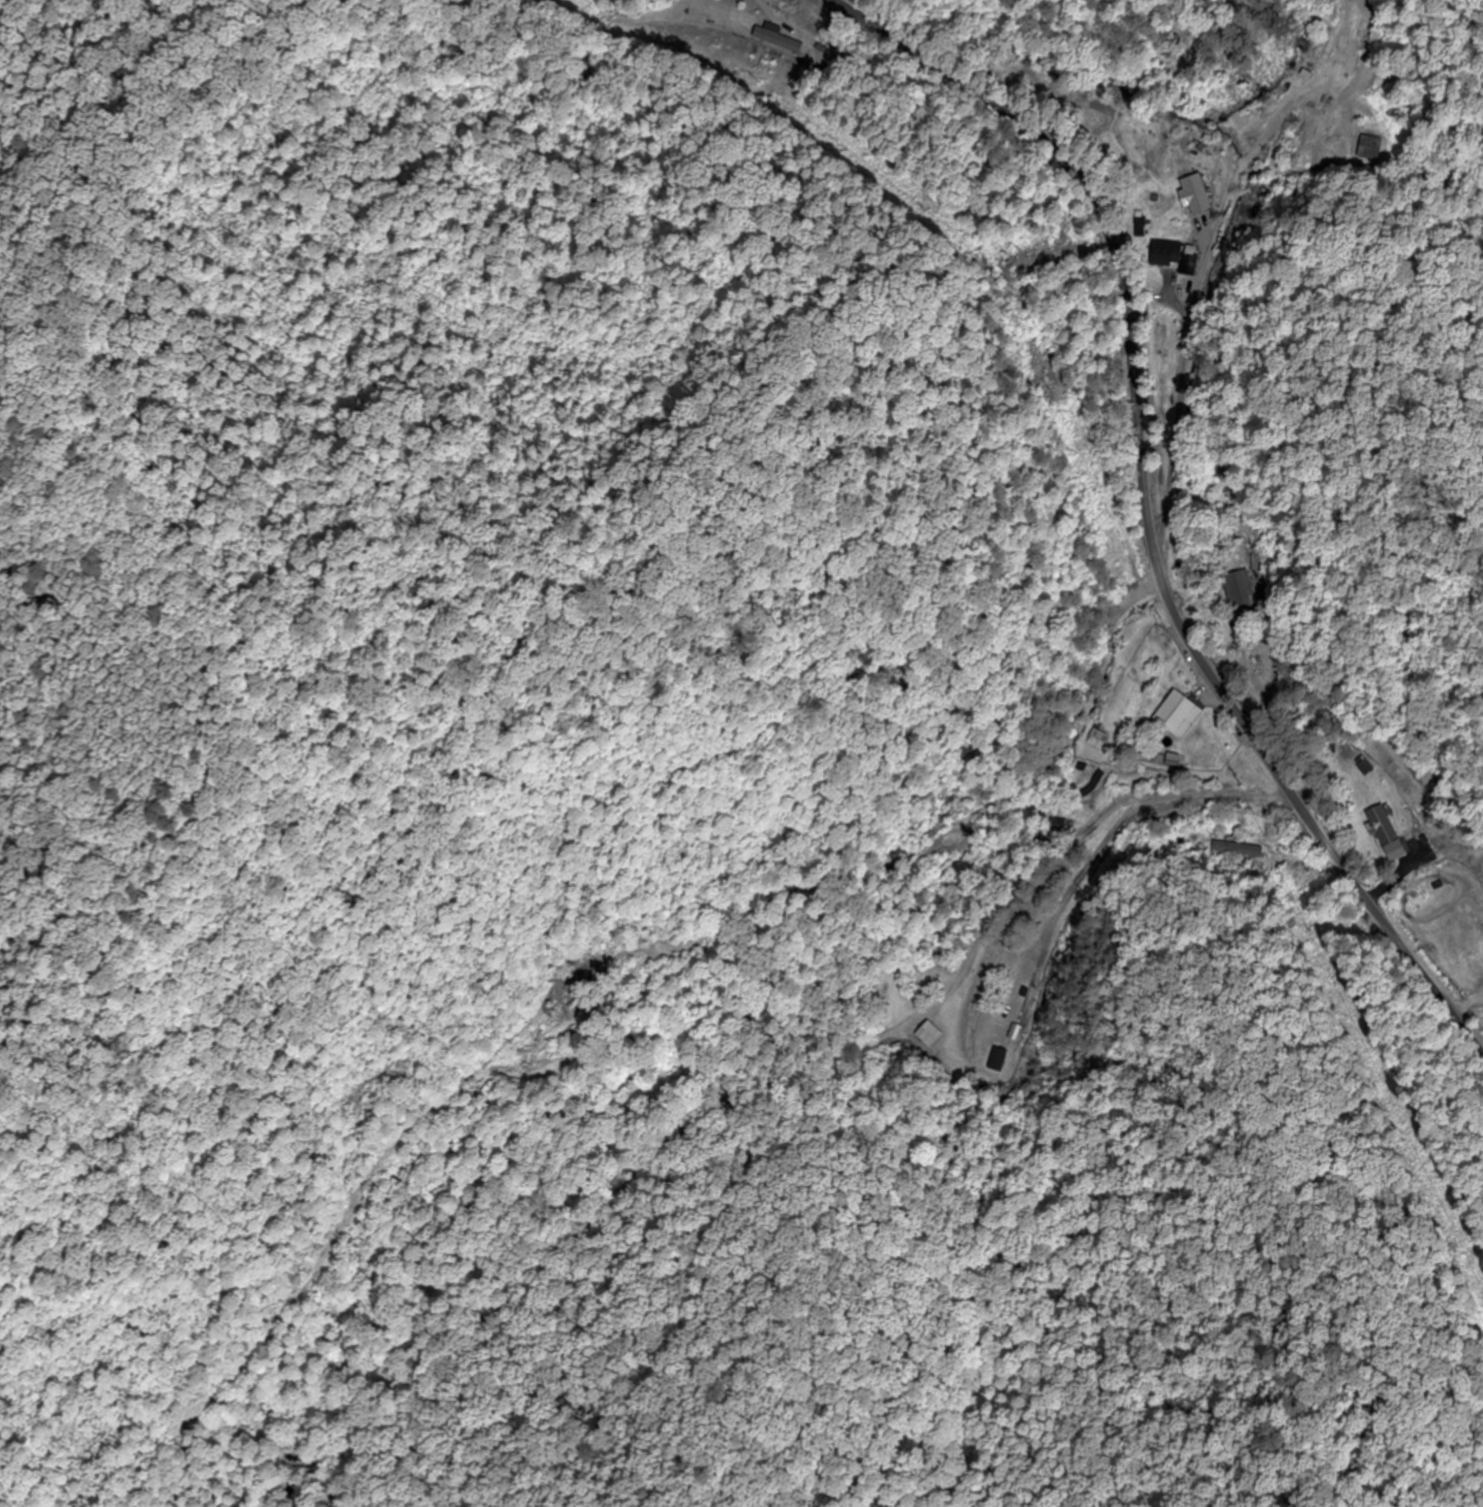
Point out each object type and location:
building: (780, 37)
building: (1326, 108)
building: (1167, 251)
building: (1182, 265)
road: (1158, 512)
building: (1237, 592)
building: (1175, 716)
building: (1096, 740)
building: (940, 822)
building: (1382, 835)
building: (929, 1035)
building: (995, 1063)

